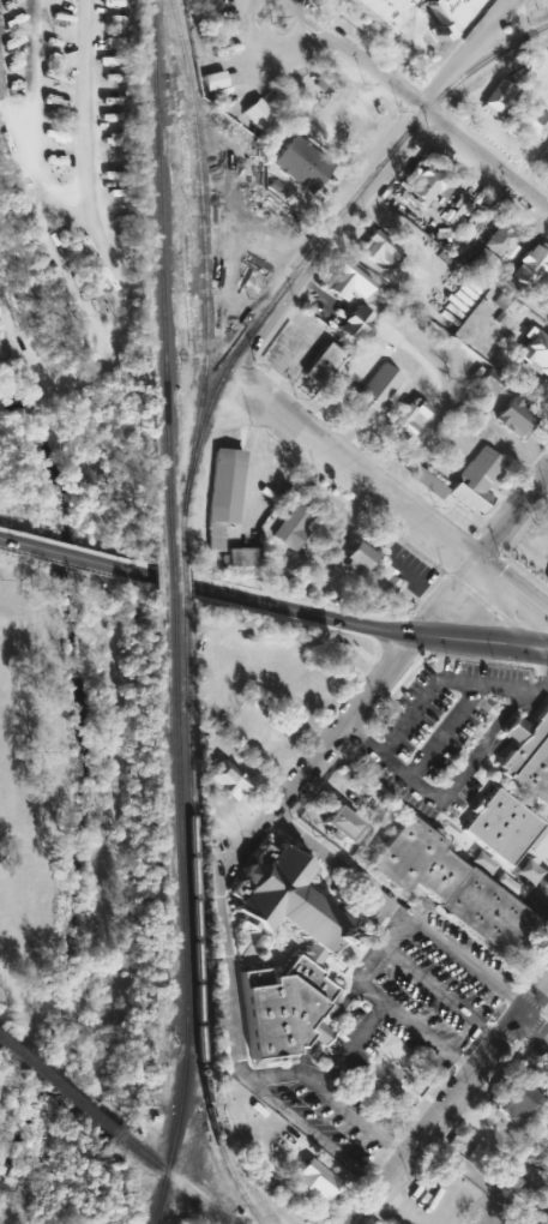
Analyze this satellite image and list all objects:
road: (507, 2)
road: (282, 10)
building: (373, 10)
building: (442, 10)
road: (261, 46)
road: (405, 47)
road: (457, 59)
building: (495, 97)
building: (257, 114)
road: (421, 120)
building: (524, 120)
building: (547, 158)
building: (301, 162)
road: (363, 169)
road: (84, 170)
building: (423, 184)
railway: (323, 236)
building: (498, 238)
building: (375, 247)
railway: (201, 253)
road: (323, 253)
building: (482, 262)
building: (530, 264)
building: (345, 281)
railway: (159, 283)
building: (502, 292)
building: (351, 322)
building: (535, 353)
building: (321, 362)
building: (489, 380)
building: (373, 390)
building: (408, 418)
building: (514, 418)
road: (347, 479)
building: (475, 480)
building: (426, 481)
building: (222, 493)
building: (293, 524)
railway: (181, 539)
road: (66, 556)
building: (240, 556)
building: (355, 557)
road: (517, 565)
railway: (170, 580)
railway: (181, 582)
building: (547, 582)
building: (378, 587)
road: (508, 590)
road: (229, 595)
road: (487, 602)
road: (436, 636)
road: (408, 642)
building: (338, 656)
road: (436, 680)
road: (383, 700)
building: (528, 755)
building: (224, 780)
road: (456, 780)
building: (360, 800)
building: (338, 824)
building: (500, 826)
road: (321, 864)
building: (452, 893)
railway: (181, 911)
railway: (192, 917)
road: (221, 950)
building: (308, 958)
road: (447, 961)
road: (365, 962)
road: (438, 992)
road: (537, 1008)
road: (532, 1025)
road: (530, 1030)
parking lot: (435, 1043)
road: (349, 1045)
road: (524, 1049)
railway: (56, 1087)
building: (512, 1094)
road: (447, 1098)
railway: (173, 1177)
building: (309, 1180)
building: (517, 1192)
building: (544, 1198)
road: (402, 1207)
building: (518, 1219)

